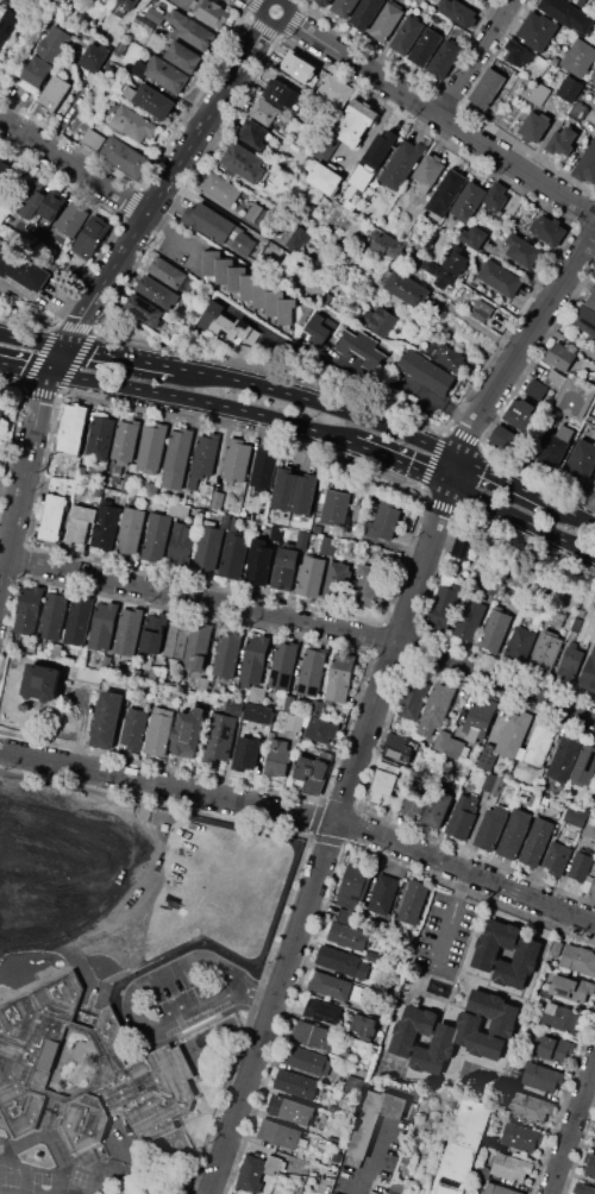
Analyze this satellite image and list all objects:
building: (482, 0)
building: (10, 1)
building: (325, 2)
building: (580, 2)
building: (183, 4)
building: (124, 6)
road: (269, 6)
building: (344, 7)
building: (457, 12)
building: (212, 13)
building: (367, 13)
building: (156, 14)
building: (568, 14)
building: (387, 21)
building: (8, 24)
building: (146, 24)
building: (537, 31)
building: (198, 34)
building: (407, 34)
building: (54, 44)
building: (426, 46)
building: (518, 52)
building: (183, 56)
building: (94, 57)
building: (578, 57)
building: (444, 58)
road: (476, 58)
building: (299, 65)
building: (140, 68)
building: (37, 71)
building: (167, 74)
building: (487, 87)
building: (338, 88)
building: (570, 89)
building: (129, 92)
building: (281, 93)
building: (54, 94)
building: (539, 94)
building: (152, 101)
building: (577, 111)
building: (265, 112)
road: (436, 113)
building: (594, 120)
building: (356, 122)
building: (132, 125)
building: (535, 126)
road: (369, 133)
building: (253, 134)
building: (90, 138)
building: (563, 140)
building: (126, 157)
building: (372, 158)
building: (243, 163)
building: (402, 163)
building: (587, 163)
road: (74, 165)
building: (428, 171)
building: (6, 175)
building: (325, 178)
building: (221, 188)
building: (446, 193)
building: (29, 197)
building: (496, 197)
building: (468, 201)
building: (51, 203)
building: (255, 212)
building: (71, 220)
building: (209, 222)
road: (173, 228)
building: (549, 230)
building: (474, 235)
building: (90, 238)
building: (297, 239)
building: (386, 243)
building: (244, 244)
building: (524, 250)
building: (456, 260)
building: (211, 262)
building: (431, 266)
building: (23, 268)
building: (224, 270)
building: (168, 272)
building: (236, 277)
building: (500, 277)
building: (444, 278)
road: (105, 282)
building: (249, 287)
building: (407, 289)
building: (157, 291)
building: (261, 294)
building: (327, 297)
building: (591, 300)
building: (274, 302)
building: (144, 309)
building: (287, 310)
building: (482, 310)
building: (584, 319)
building: (383, 321)
building: (228, 325)
building: (320, 329)
road: (33, 337)
traffic signals: (67, 344)
building: (364, 350)
road: (312, 354)
road: (125, 356)
building: (560, 356)
building: (447, 357)
road: (26, 369)
building: (427, 371)
traffic signals: (52, 375)
building: (555, 378)
building: (537, 388)
road: (433, 395)
building: (577, 397)
road: (325, 401)
road: (209, 404)
building: (1, 413)
building: (522, 413)
building: (71, 428)
building: (502, 436)
building: (99, 439)
building: (125, 444)
building: (555, 446)
building: (151, 450)
building: (203, 458)
building: (581, 458)
building: (176, 460)
building: (236, 461)
road: (407, 464)
building: (263, 469)
building: (59, 473)
road: (503, 475)
building: (127, 480)
building: (57, 484)
building: (150, 489)
building: (96, 490)
building: (293, 491)
building: (121, 498)
building: (217, 501)
road: (571, 508)
building: (337, 509)
building: (180, 510)
road: (8, 515)
building: (51, 517)
road: (522, 520)
building: (80, 524)
building: (106, 524)
building: (384, 524)
building: (317, 528)
building: (131, 532)
building: (276, 532)
building: (299, 538)
building: (156, 539)
building: (327, 545)
building: (182, 546)
building: (207, 548)
building: (462, 549)
building: (233, 553)
building: (258, 563)
building: (286, 568)
building: (312, 574)
building: (338, 582)
building: (368, 586)
building: (444, 605)
building: (29, 610)
building: (52, 616)
road: (307, 620)
building: (79, 621)
building: (470, 621)
building: (576, 624)
building: (104, 626)
building: (129, 633)
building: (155, 633)
building: (495, 633)
building: (177, 636)
building: (199, 646)
building: (520, 646)
building: (57, 651)
building: (546, 652)
building: (227, 653)
building: (255, 660)
building: (107, 662)
building: (284, 665)
building: (570, 665)
building: (130, 668)
building: (312, 671)
building: (589, 673)
building: (89, 674)
building: (340, 677)
building: (40, 680)
building: (203, 684)
building: (414, 692)
building: (258, 695)
road: (377, 702)
building: (236, 708)
building: (317, 708)
building: (436, 709)
building: (262, 712)
road: (84, 715)
building: (107, 718)
building: (480, 718)
building: (294, 722)
building: (134, 728)
building: (322, 730)
building: (159, 731)
building: (189, 733)
building: (513, 735)
building: (220, 739)
building: (441, 740)
building: (403, 743)
building: (539, 746)
building: (455, 748)
building: (245, 753)
building: (399, 755)
building: (564, 756)
building: (278, 758)
building: (584, 766)
building: (312, 773)
building: (520, 775)
building: (383, 781)
building: (488, 781)
building: (497, 785)
building: (415, 799)
building: (534, 800)
building: (437, 807)
building: (549, 811)
road: (305, 813)
building: (577, 815)
building: (463, 816)
building: (490, 827)
building: (590, 829)
building: (514, 834)
building: (537, 841)
building: (557, 857)
building: (581, 866)
building: (594, 866)
building: (587, 882)
building: (353, 885)
building: (593, 887)
building: (383, 893)
building: (413, 901)
park: (48, 907)
building: (346, 916)
road: (447, 922)
building: (502, 934)
building: (349, 936)
building: (556, 948)
building: (527, 953)
building: (372, 955)
building: (487, 955)
building: (578, 959)
building: (338, 960)
building: (363, 970)
building: (509, 973)
building: (330, 985)
building: (571, 987)
road: (258, 992)
building: (484, 1003)
road: (130, 1010)
building: (322, 1011)
building: (560, 1017)
building: (420, 1019)
building: (505, 1019)
building: (364, 1026)
building: (468, 1028)
building: (313, 1035)
building: (402, 1039)
building: (444, 1039)
building: (488, 1045)
building: (33, 1047)
building: (556, 1048)
building: (307, 1060)
building: (428, 1060)
building: (541, 1077)
building: (513, 1082)
building: (296, 1083)
building: (130, 1089)
building: (530, 1106)
building: (292, 1110)
building: (502, 1112)
building: (372, 1121)
building: (594, 1130)
building: (278, 1133)
road: (572, 1133)
building: (521, 1137)
building: (491, 1142)
building: (594, 1142)
building: (463, 1146)
road: (368, 1155)
building: (271, 1164)
building: (589, 1164)
building: (511, 1167)
building: (481, 1171)
building: (251, 1173)
building: (132, 1183)
building: (378, 1187)
building: (499, 1188)
building: (583, 1188)
building: (238, 1193)
building: (332, 1193)
building: (393, 1193)

